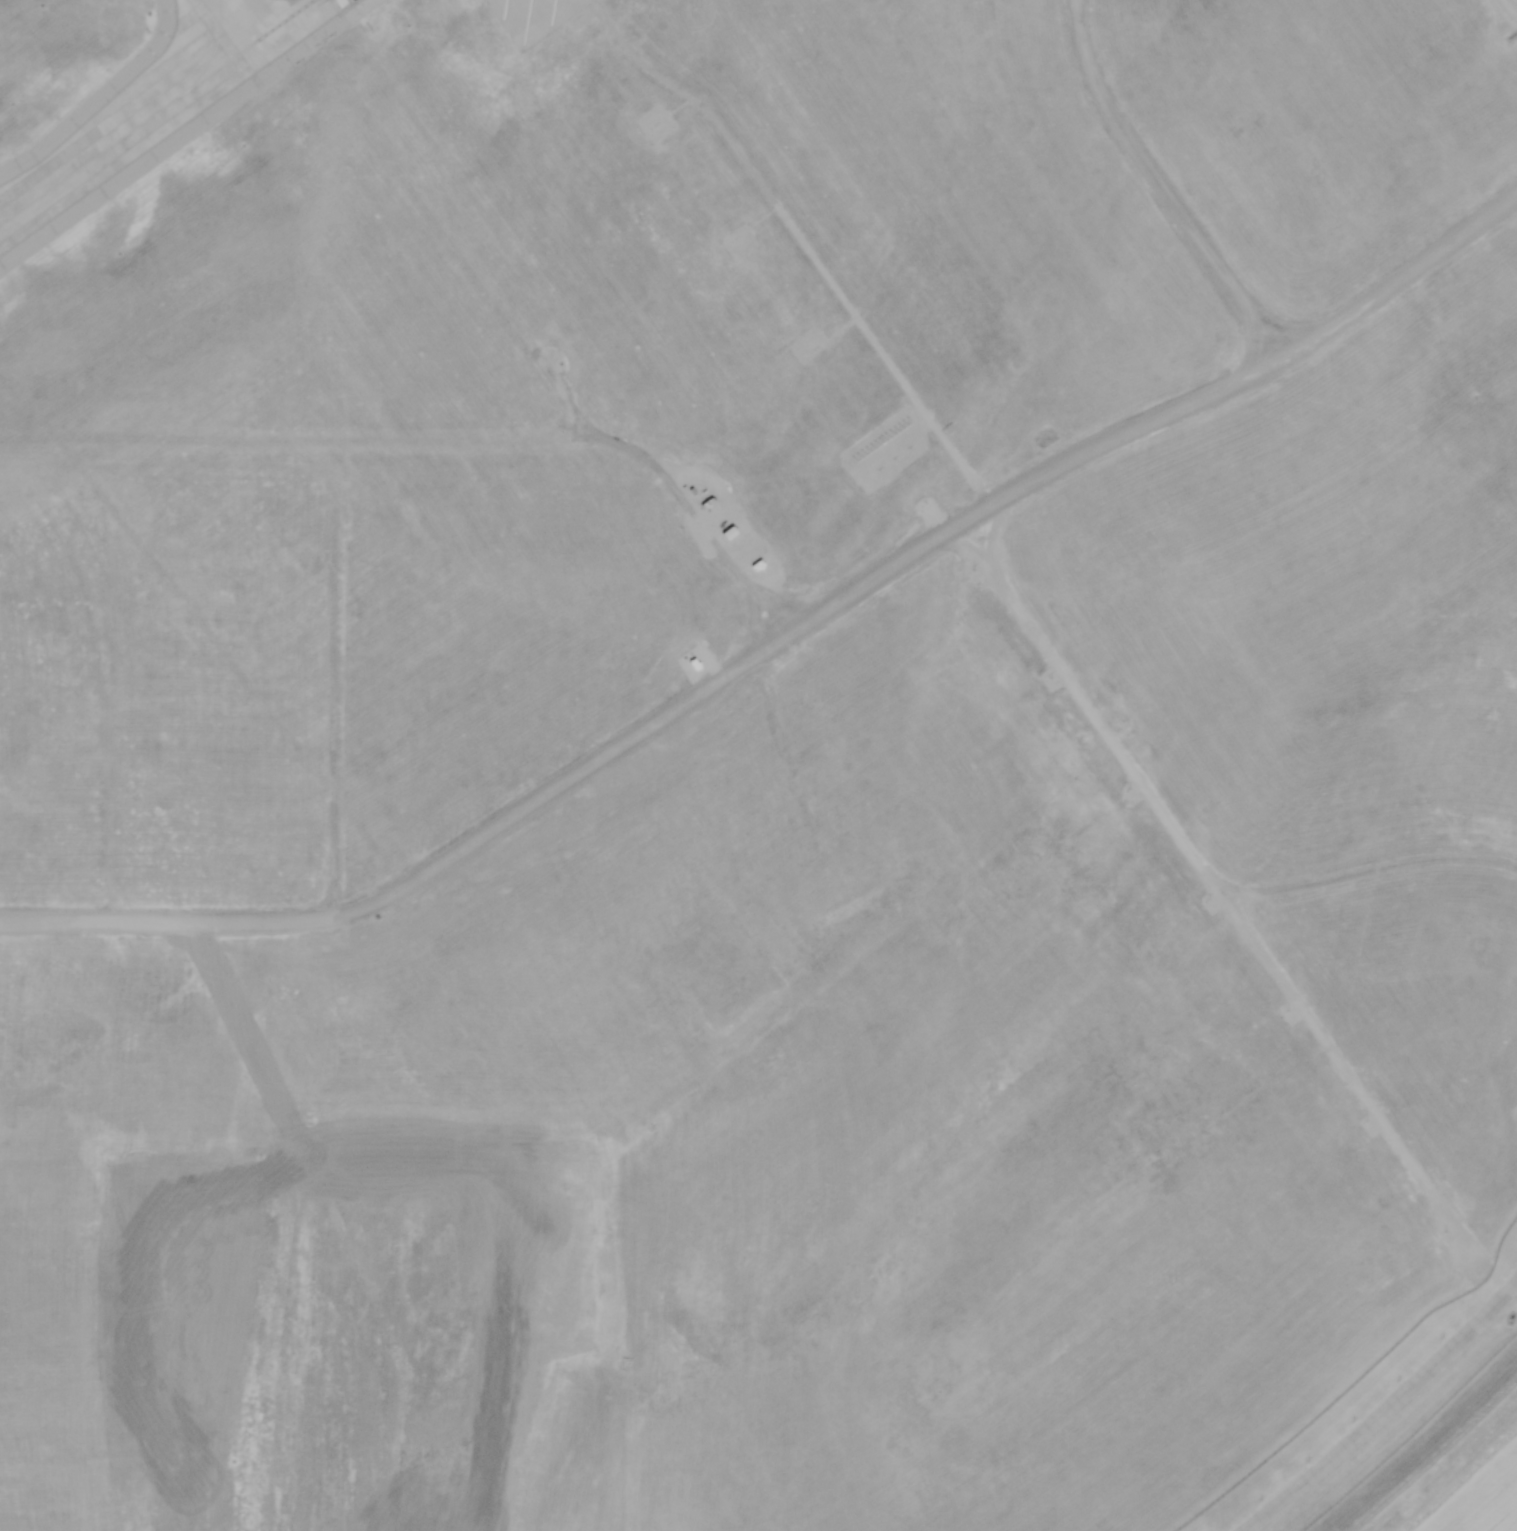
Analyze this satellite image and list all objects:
road: (1507, 13)
airport taxiway: (214, 50)
airport taxiway: (156, 113)
road: (1160, 187)
road: (781, 642)
airport: (752, 759)
road: (1178, 831)
road: (1346, 1074)
road: (1385, 1411)

